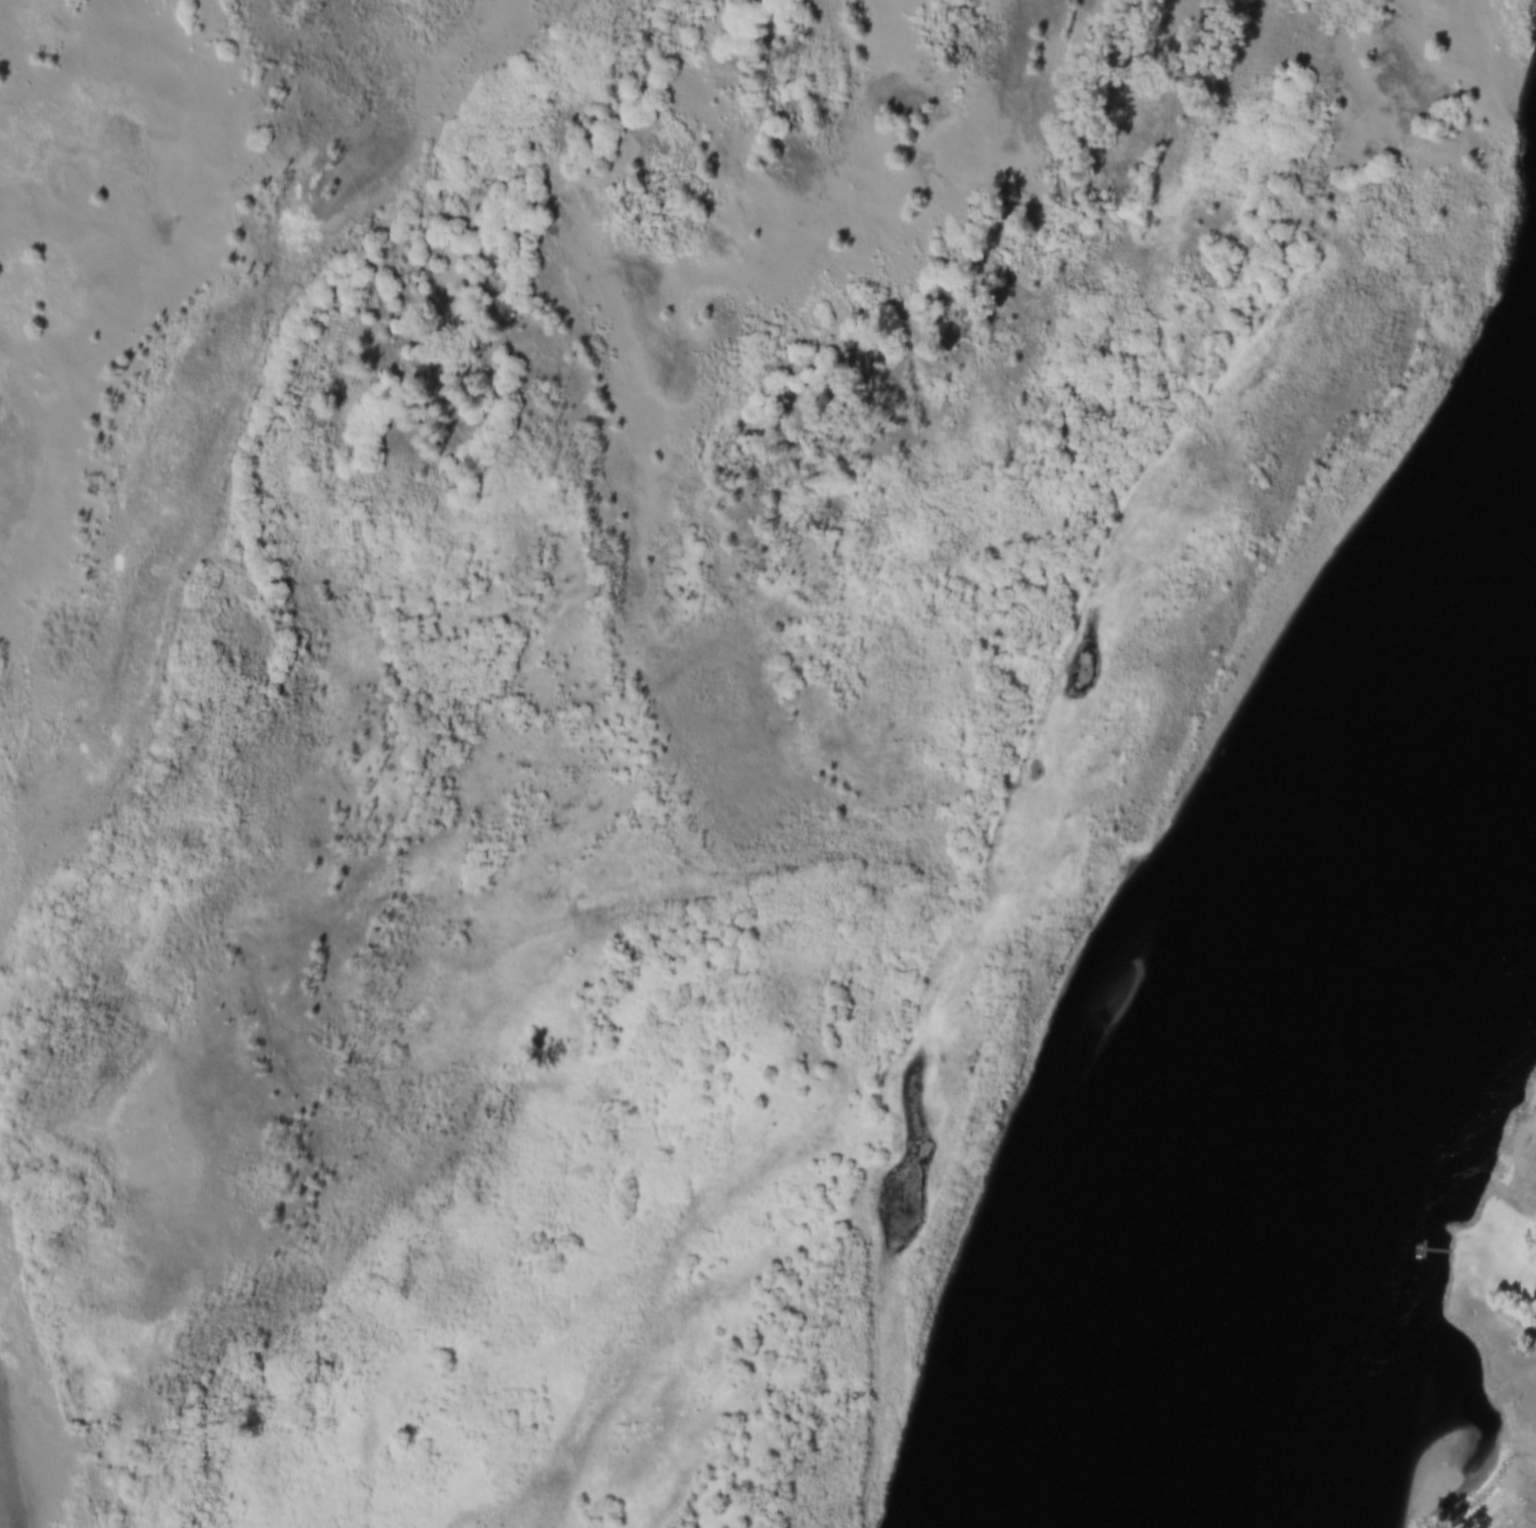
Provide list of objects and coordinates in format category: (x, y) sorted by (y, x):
river: (1335, 1107)
building: (1535, 1281)
building: (1522, 1379)
road: (1514, 1429)

